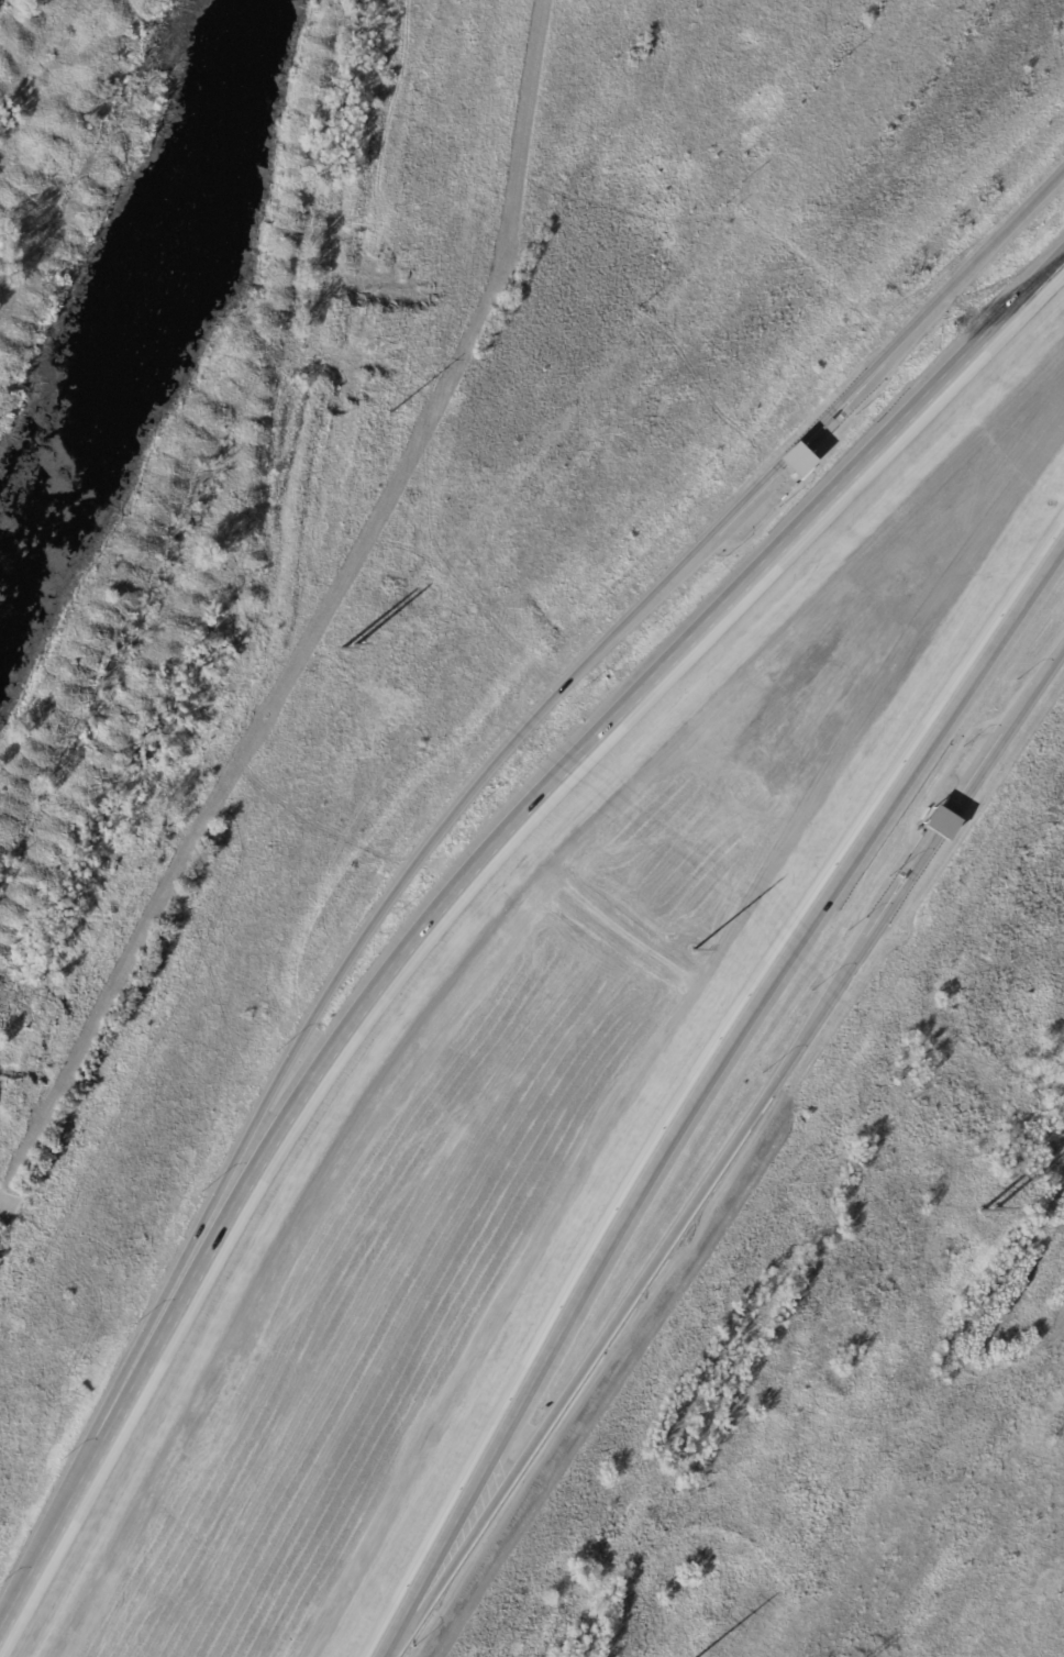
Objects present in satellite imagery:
road: (931, 307)
power tower: (388, 420)
road: (789, 454)
building: (795, 460)
road: (752, 494)
power tower: (344, 651)
road: (1008, 731)
road: (577, 752)
building: (939, 822)
road: (945, 826)
road: (905, 887)
road: (400, 891)
power tower: (692, 952)
road: (705, 1086)
power tower: (988, 1214)
road: (631, 1295)
road: (80, 1465)

